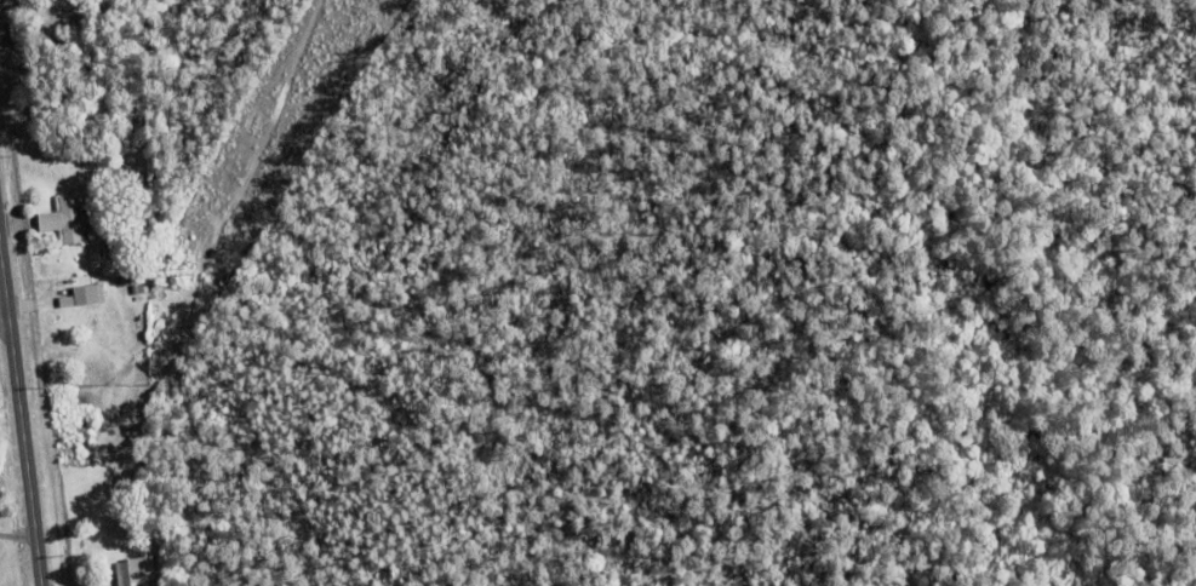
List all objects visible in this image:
building: (67, 219)
building: (87, 293)
road: (6, 338)
road: (21, 414)
road: (17, 536)
building: (136, 571)

